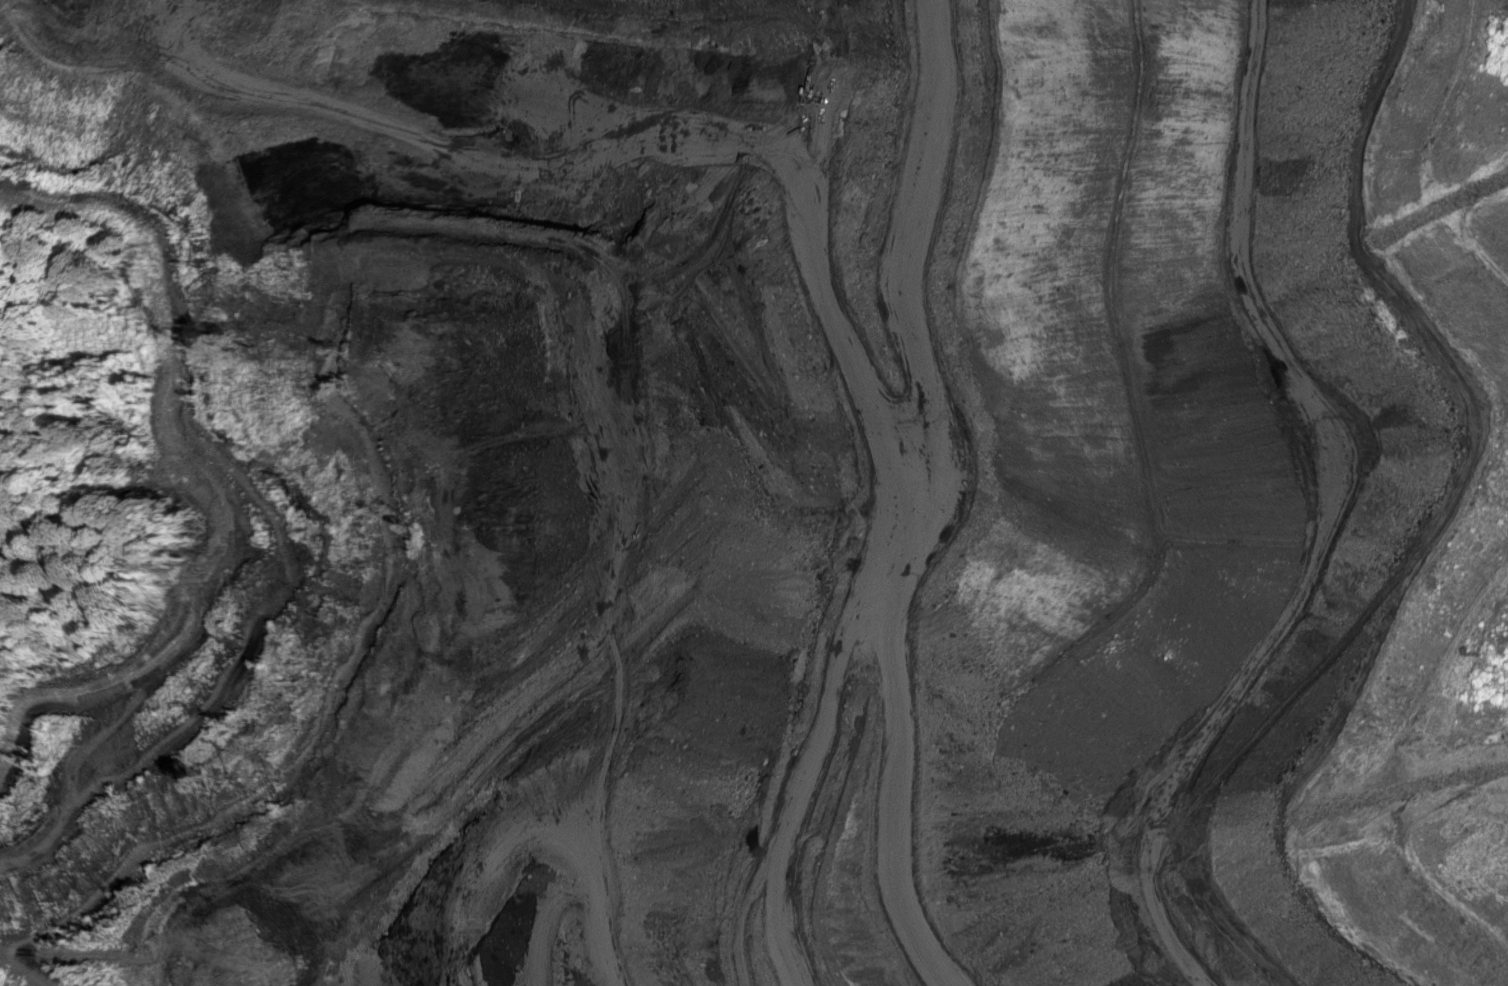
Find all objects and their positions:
quarry: (778, 494)

